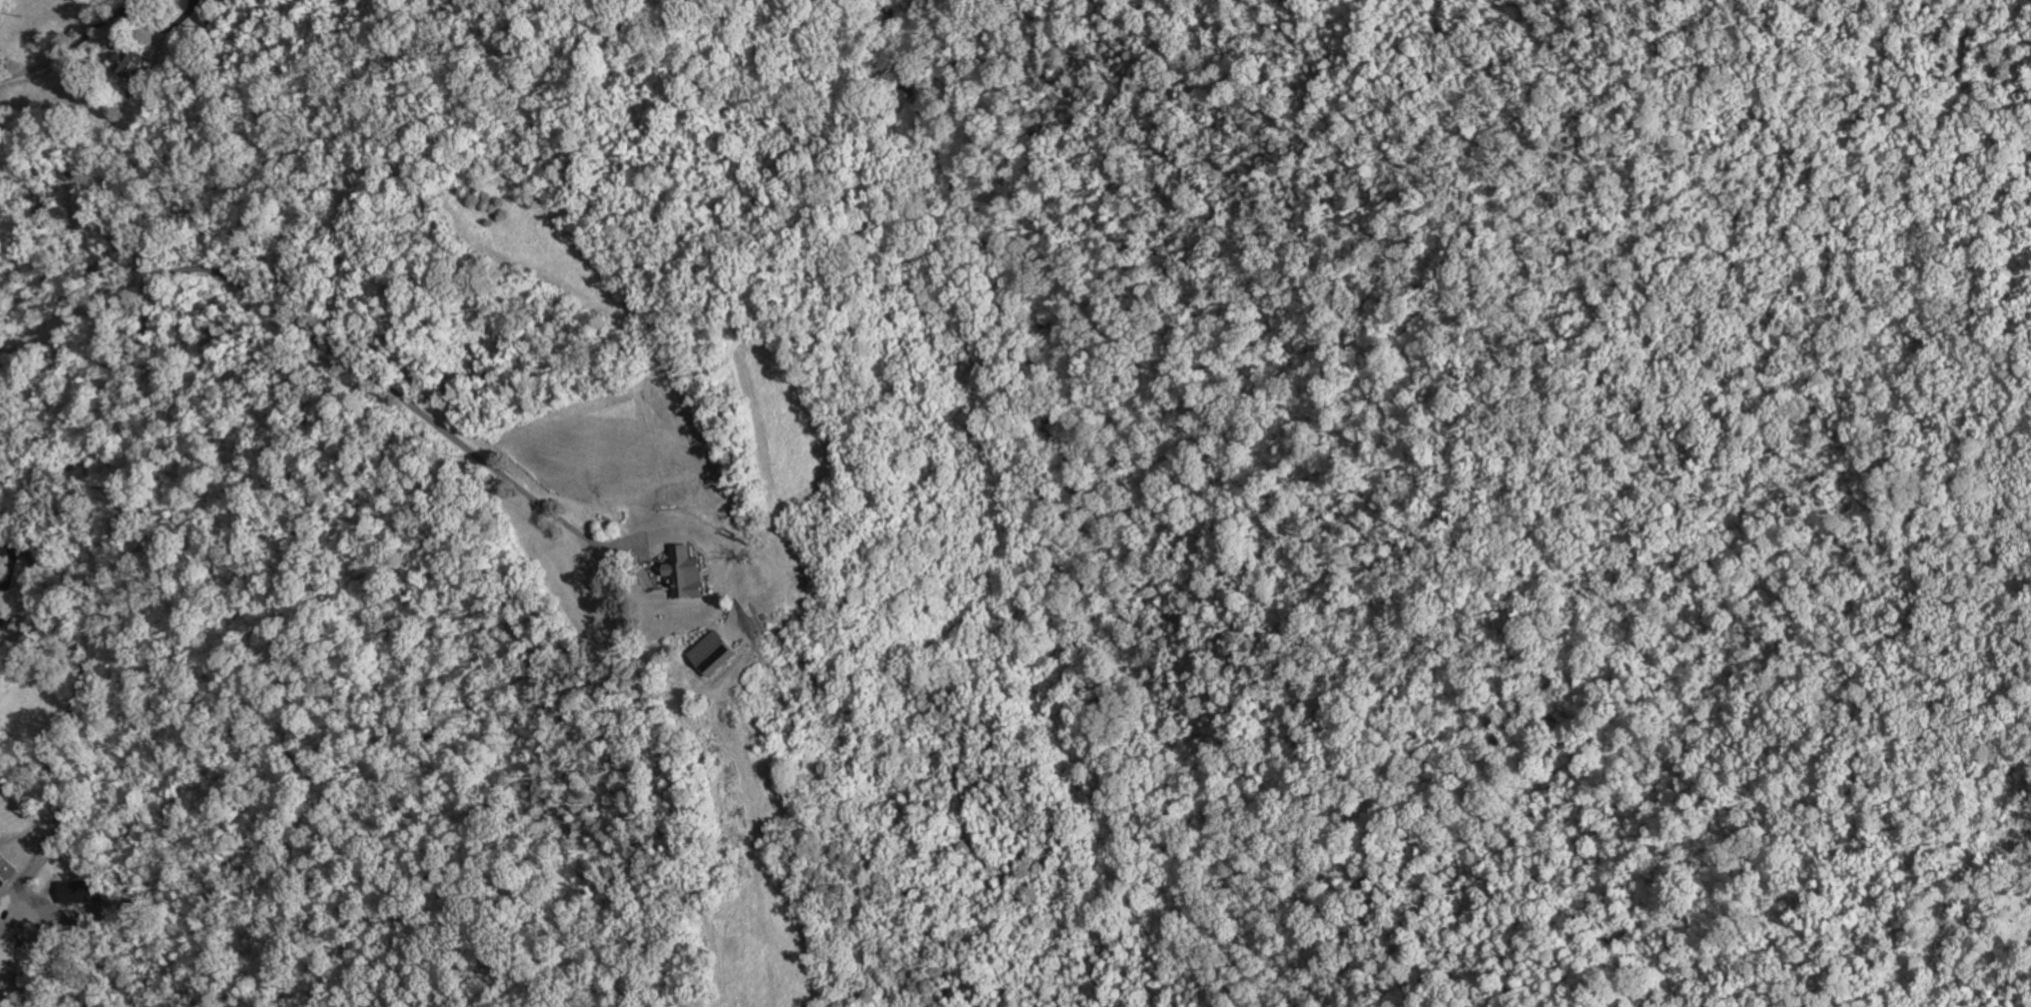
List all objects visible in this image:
road: (171, 25)
road: (70, 48)
building: (127, 59)
road: (396, 385)
building: (685, 573)
building: (714, 653)
road: (60, 700)
building: (1, 880)
building: (81, 891)

